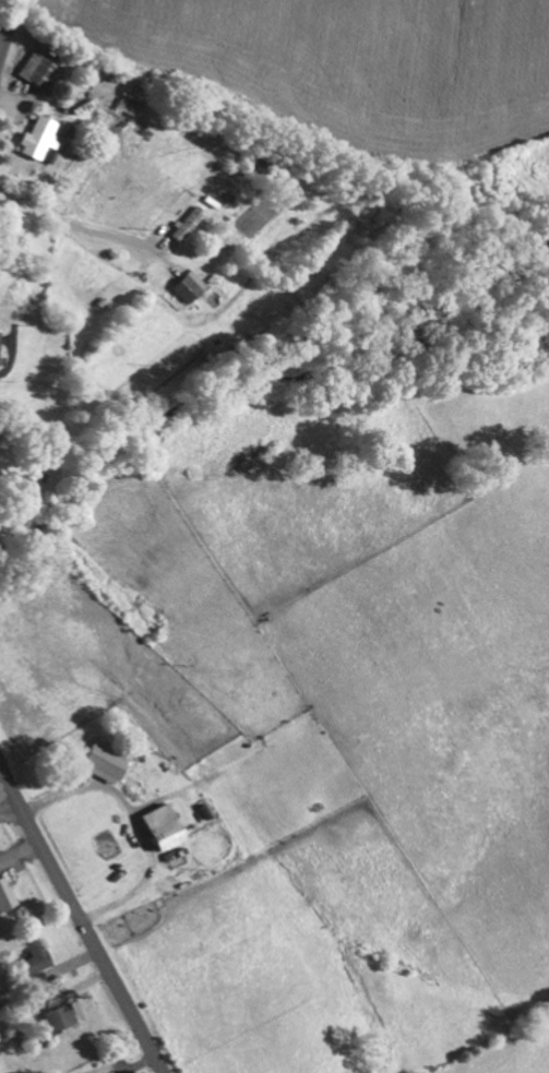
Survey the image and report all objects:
road: (9, 27)
building: (46, 64)
building: (129, 106)
building: (40, 138)
building: (190, 223)
building: (192, 286)
building: (1, 346)
building: (110, 763)
building: (169, 826)
building: (8, 895)
road: (80, 918)
building: (39, 959)
building: (62, 1017)
building: (115, 1072)

